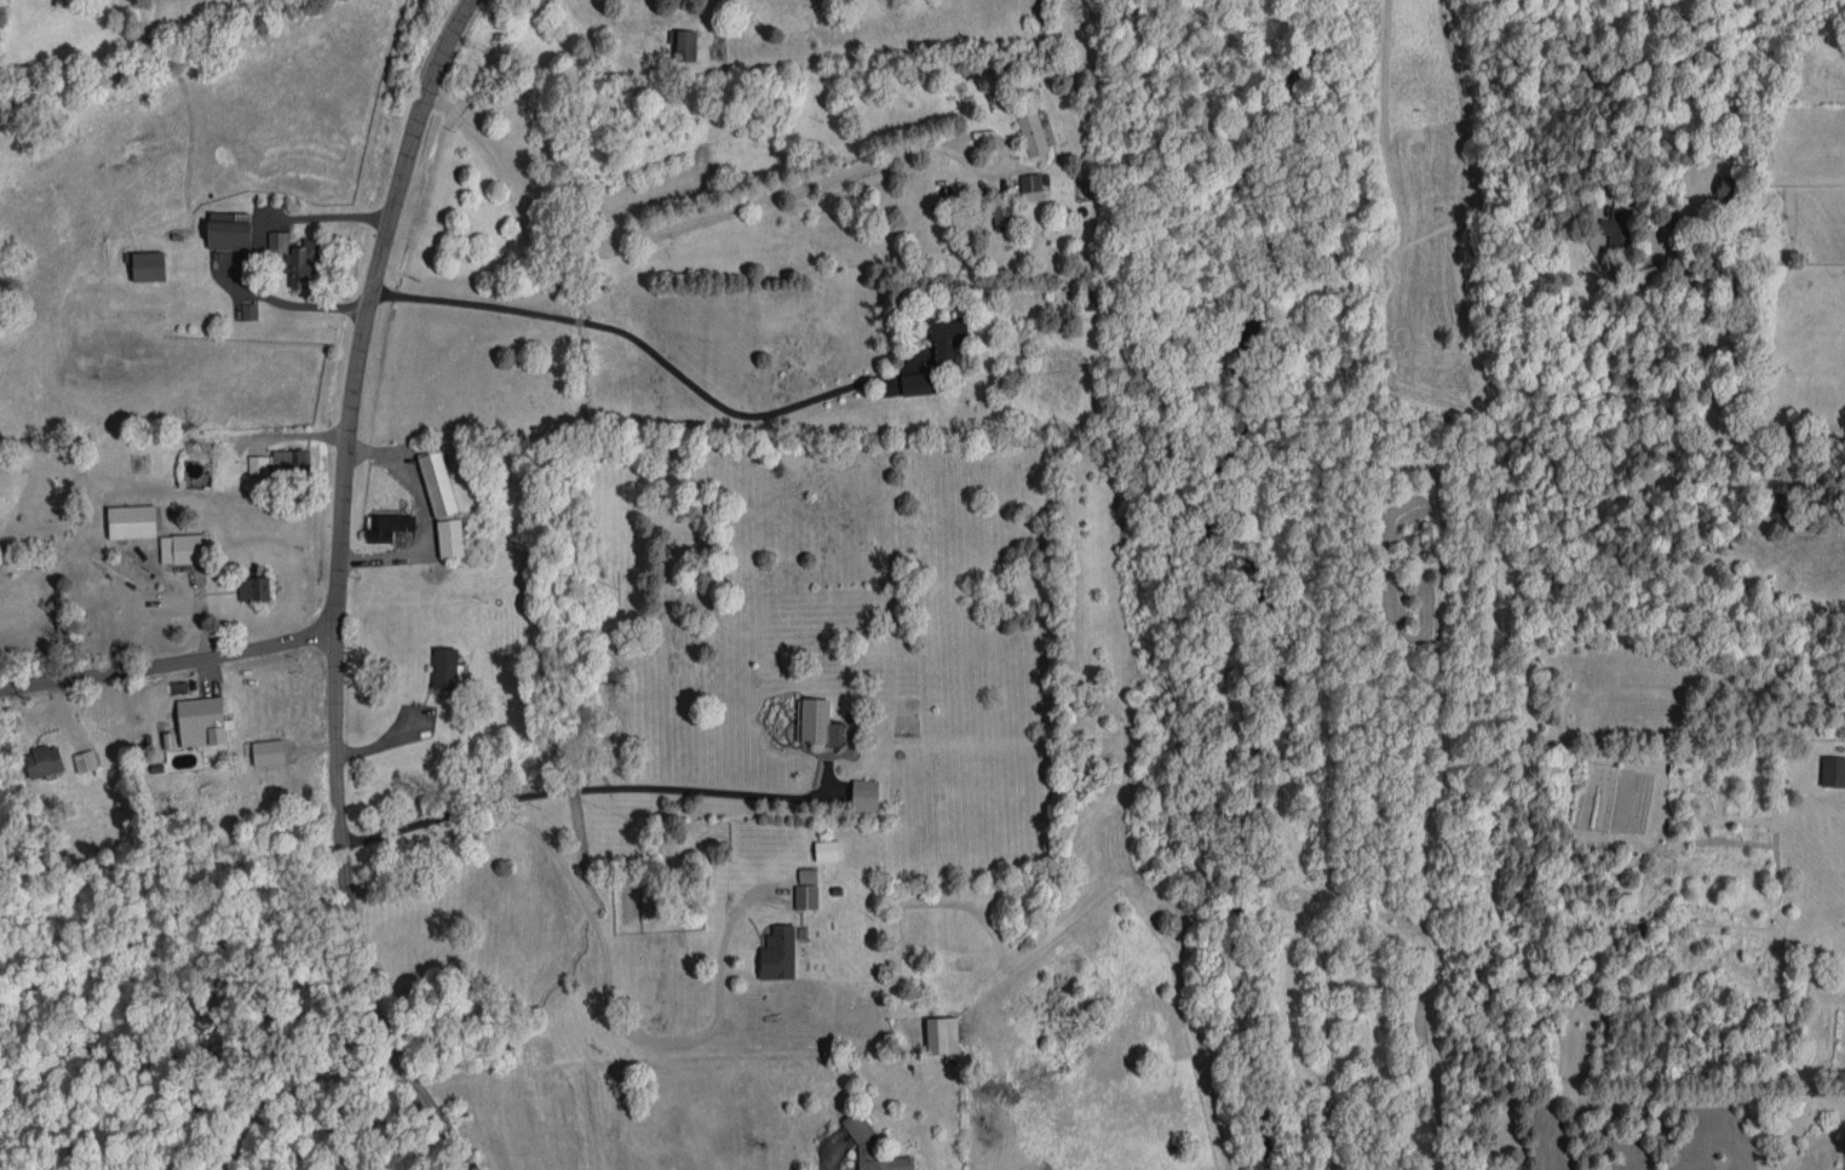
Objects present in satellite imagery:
building: (686, 44)
road: (150, 61)
building: (1031, 131)
building: (1033, 187)
building: (1725, 188)
building: (1002, 213)
road: (326, 217)
road: (669, 224)
building: (1616, 226)
building: (229, 234)
building: (277, 241)
building: (149, 265)
building: (1090, 298)
road: (289, 304)
building: (249, 310)
building: (947, 337)
road: (642, 344)
building: (918, 383)
road: (1714, 386)
building: (258, 464)
road: (1807, 480)
building: (438, 483)
building: (132, 521)
building: (387, 527)
building: (450, 538)
building: (186, 547)
building: (254, 587)
road: (337, 589)
road: (167, 664)
building: (444, 667)
building: (816, 721)
building: (201, 727)
building: (44, 761)
building: (85, 761)
building: (1833, 770)
road: (576, 788)
building: (864, 795)
building: (827, 849)
building: (806, 874)
building: (806, 896)
building: (777, 953)
road: (614, 1022)
building: (942, 1034)
road: (298, 1088)
building: (872, 1146)

